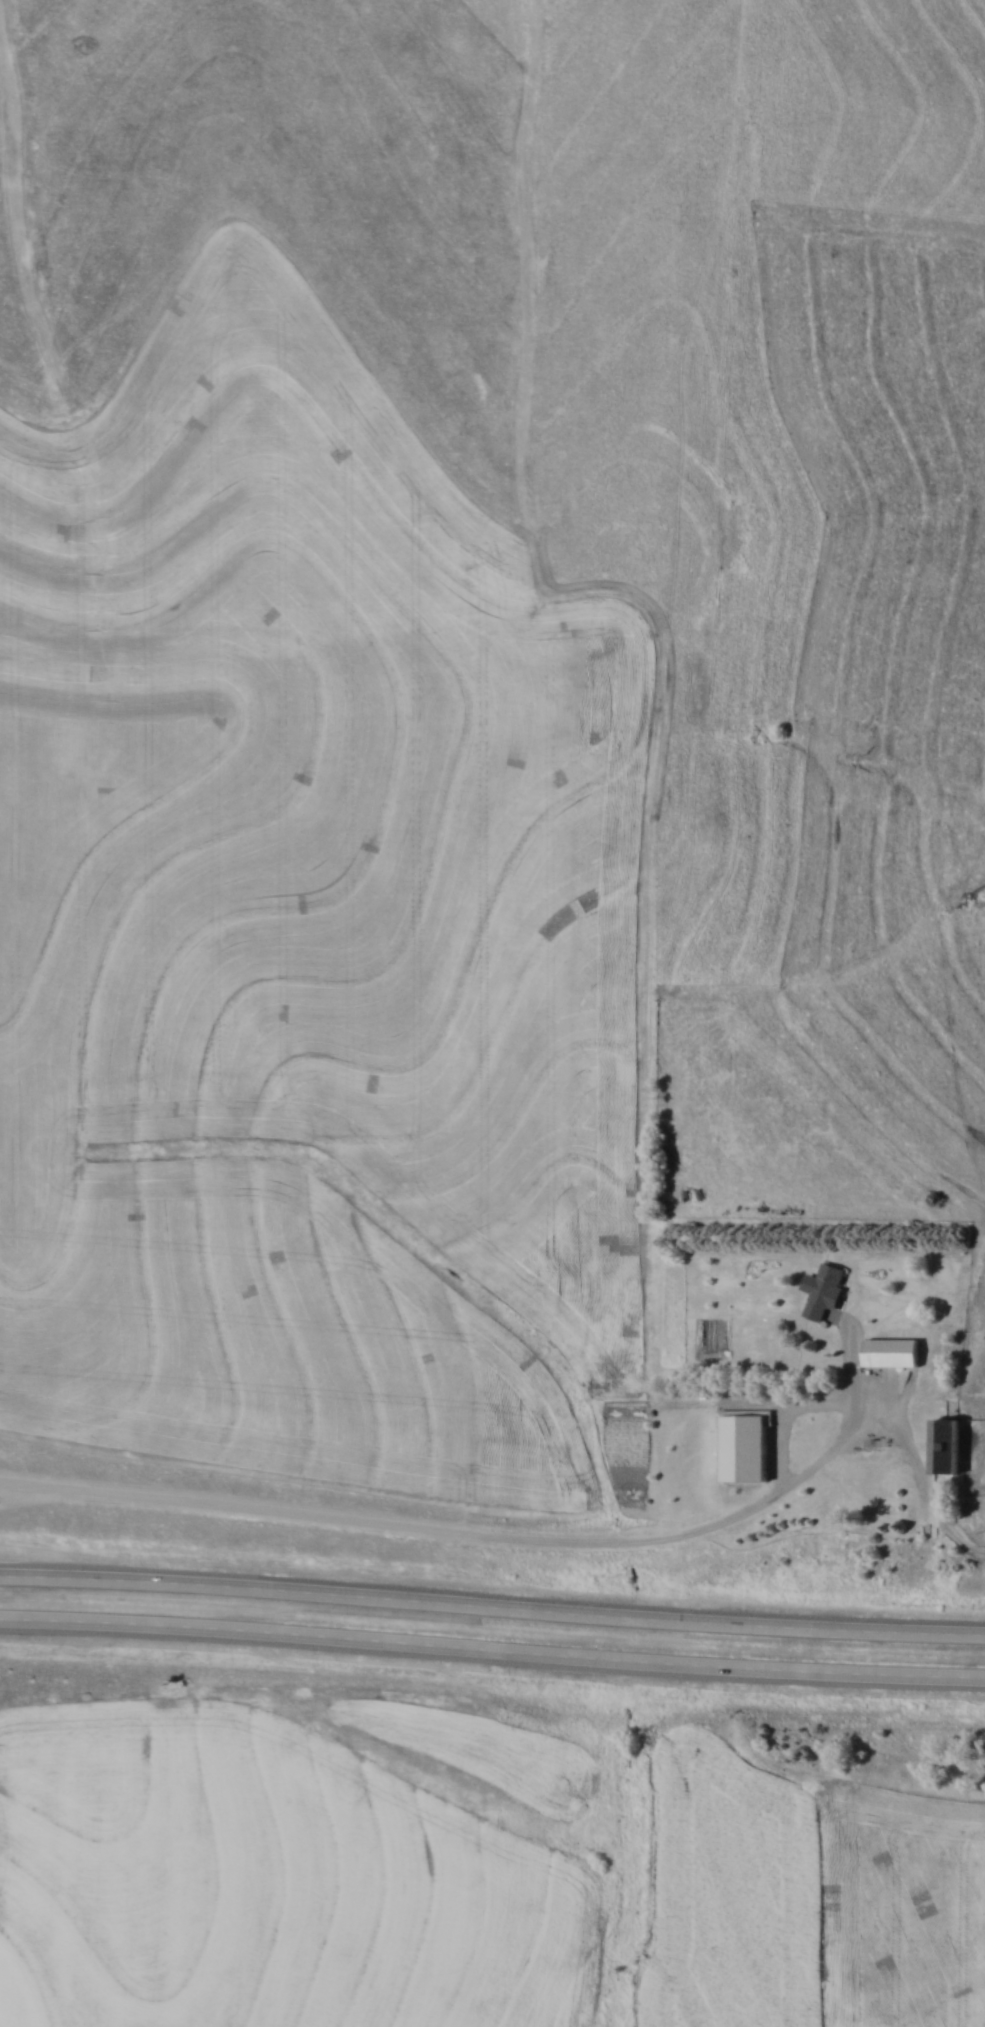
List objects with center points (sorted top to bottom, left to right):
building: (825, 1290)
building: (890, 1352)
building: (944, 1446)
road: (499, 1541)
road: (492, 1612)
road: (492, 1653)

